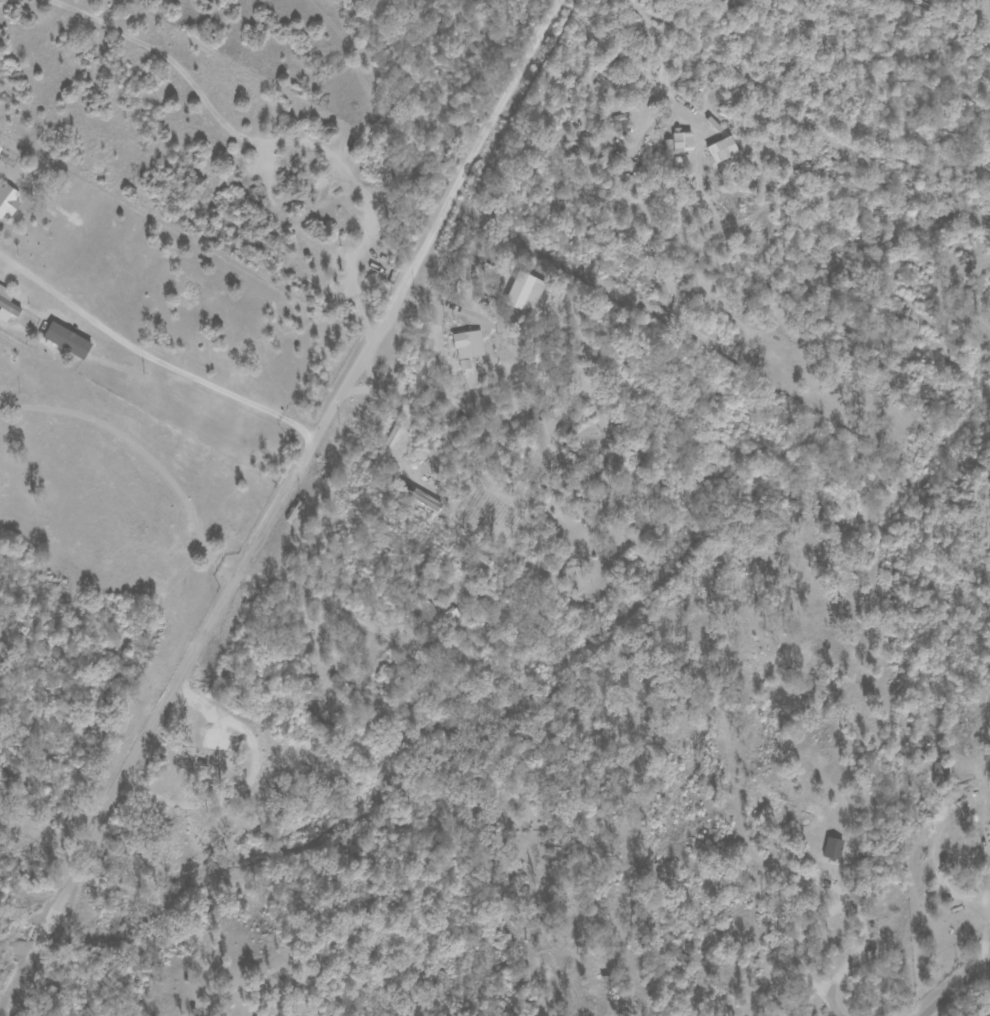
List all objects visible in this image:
road: (275, 140)
building: (679, 143)
building: (722, 150)
building: (605, 160)
building: (8, 199)
building: (524, 293)
building: (7, 304)
building: (468, 347)
road: (154, 355)
road: (431, 367)
road: (142, 458)
building: (427, 501)
road: (279, 508)
road: (321, 599)
building: (423, 611)
building: (448, 613)
road: (974, 814)
building: (832, 848)
road: (857, 945)
road: (954, 989)

